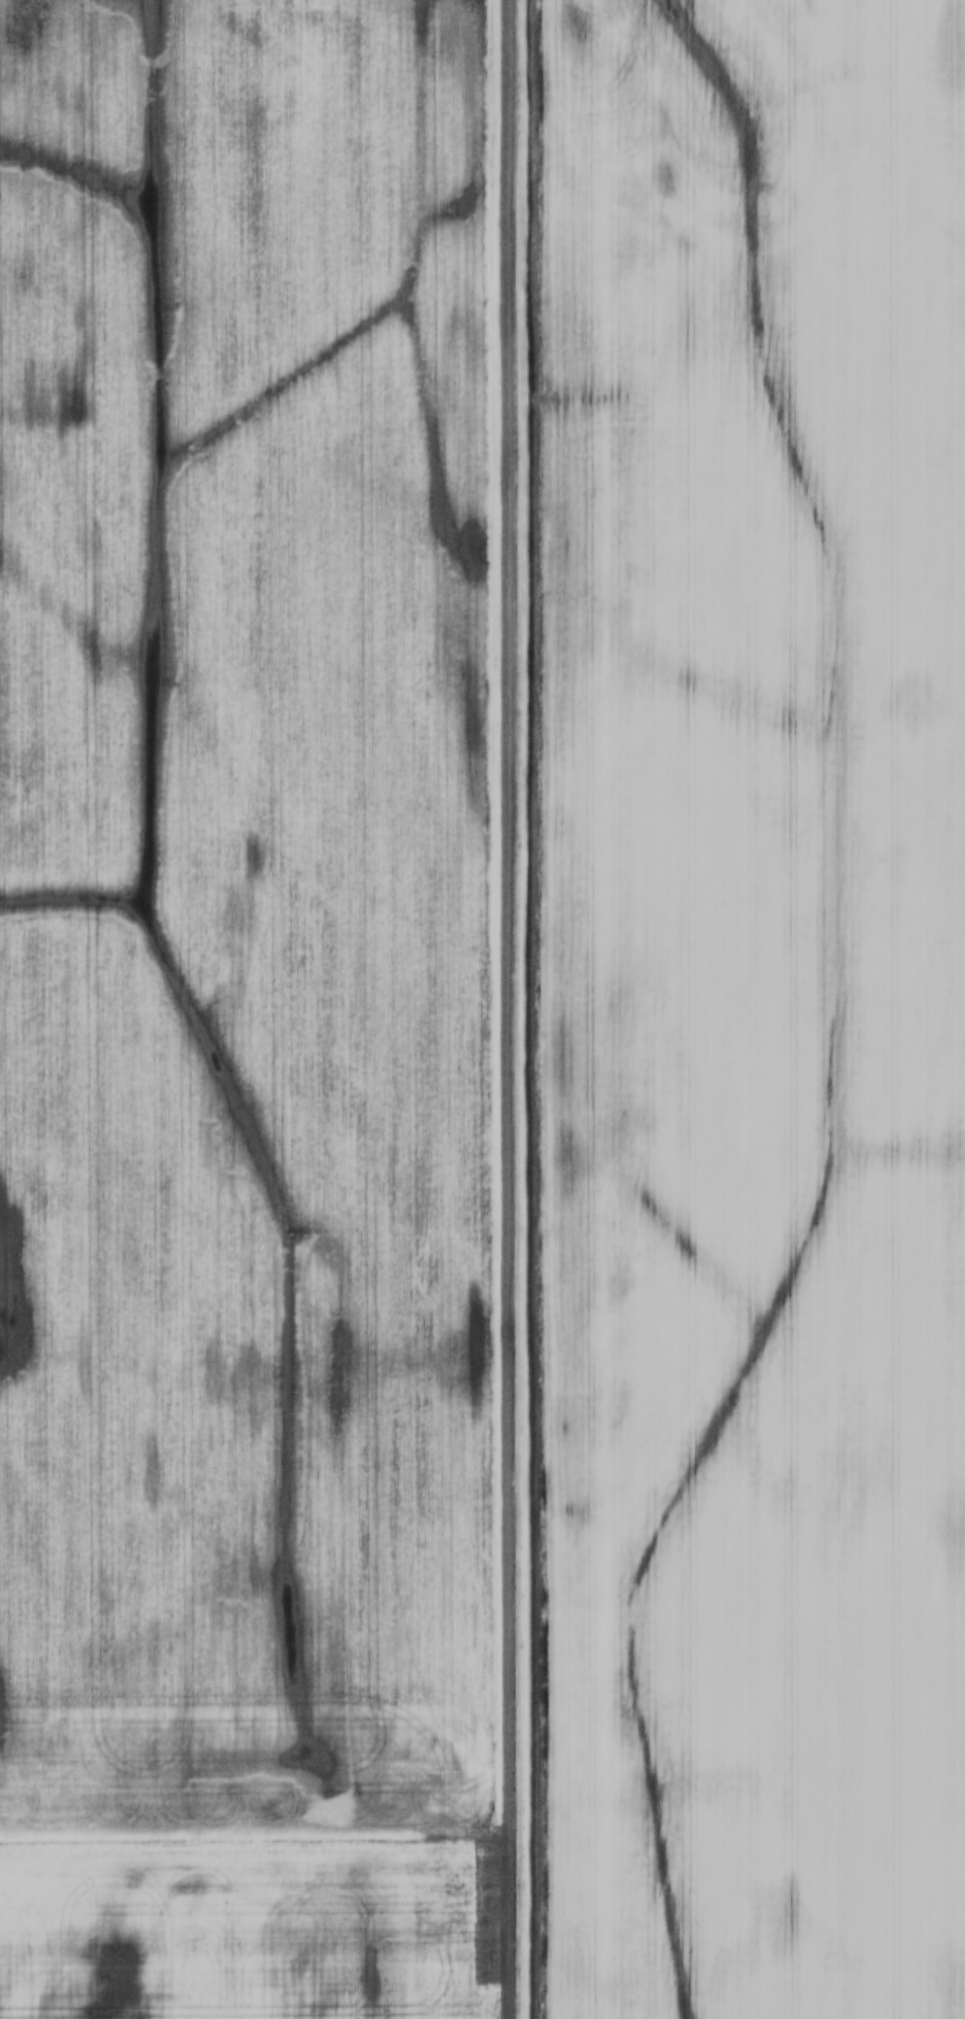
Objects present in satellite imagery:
road: (511, 1009)

